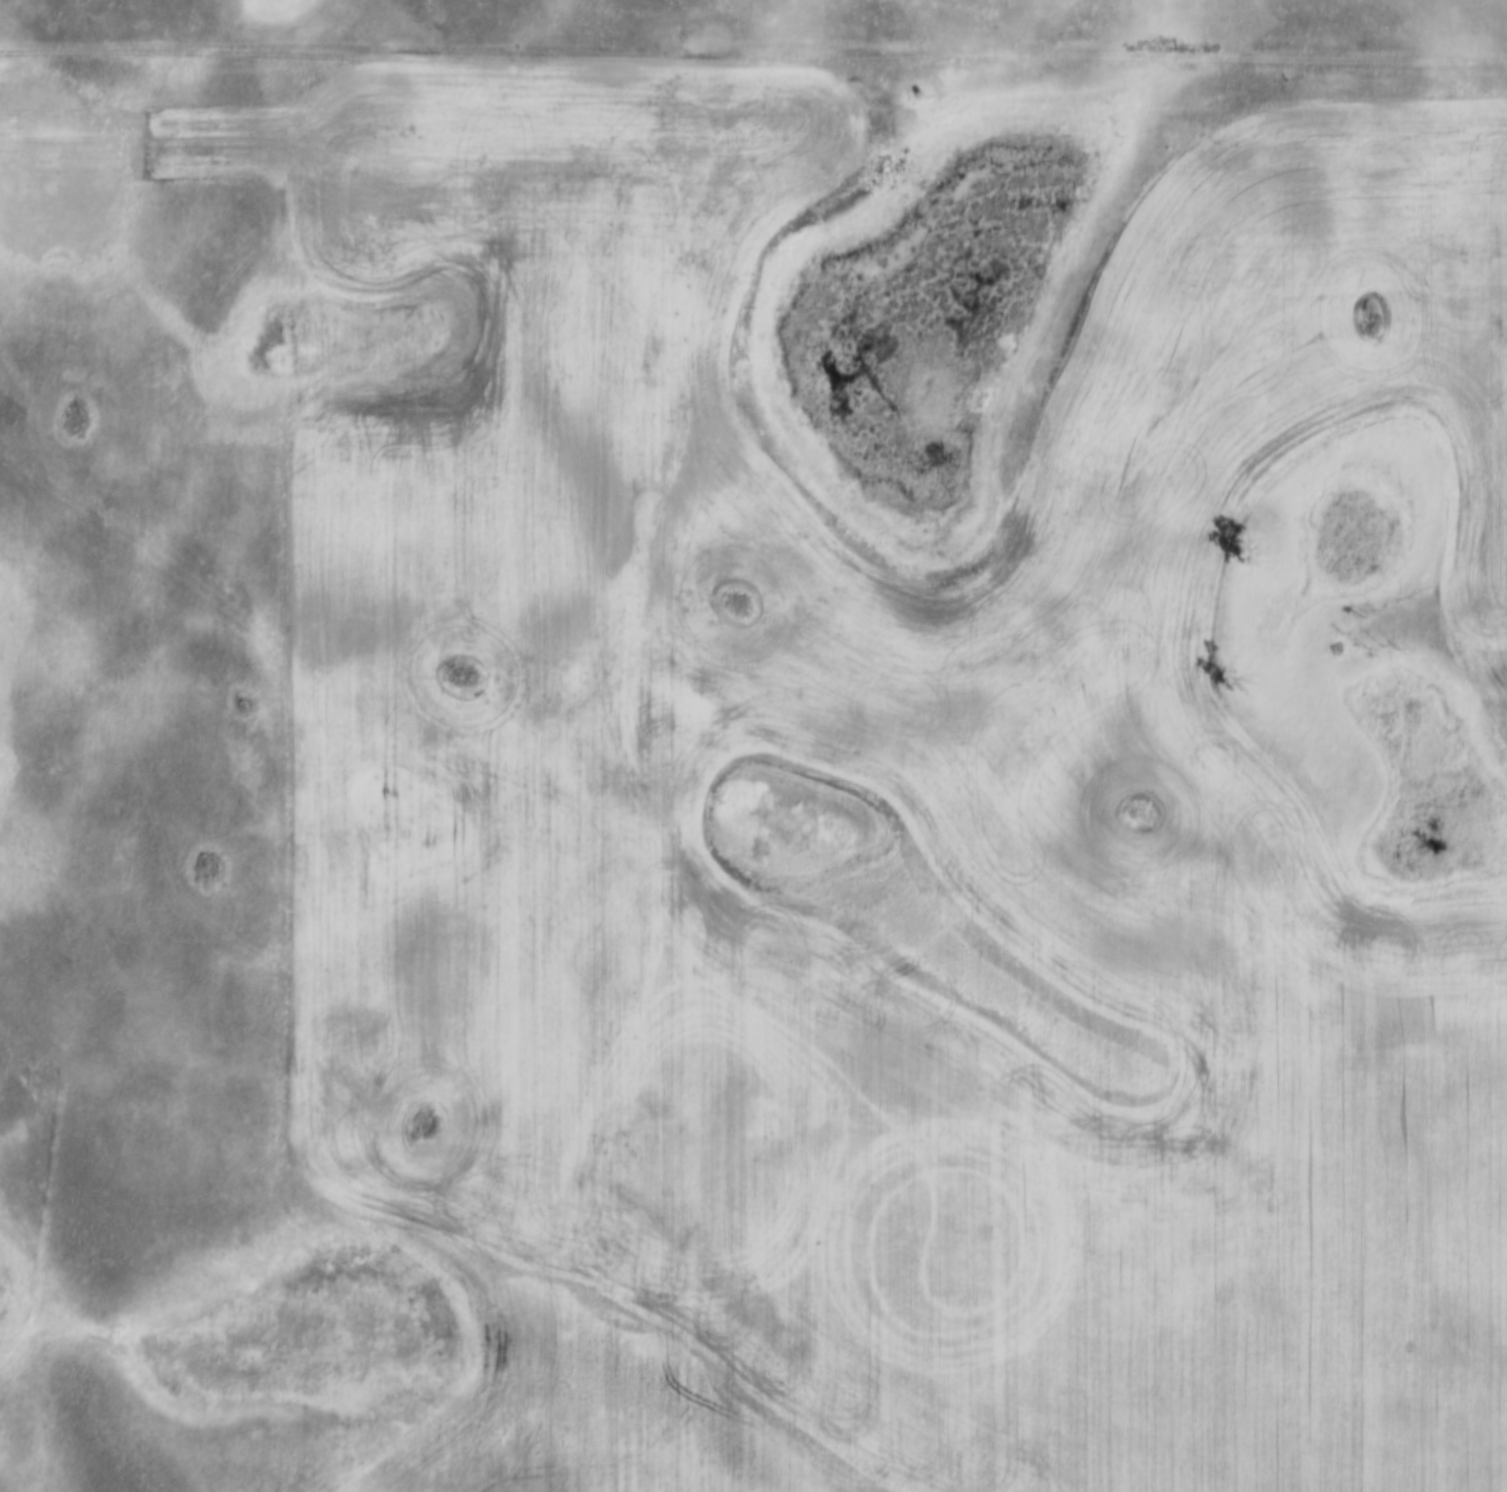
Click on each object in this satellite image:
road: (753, 58)

